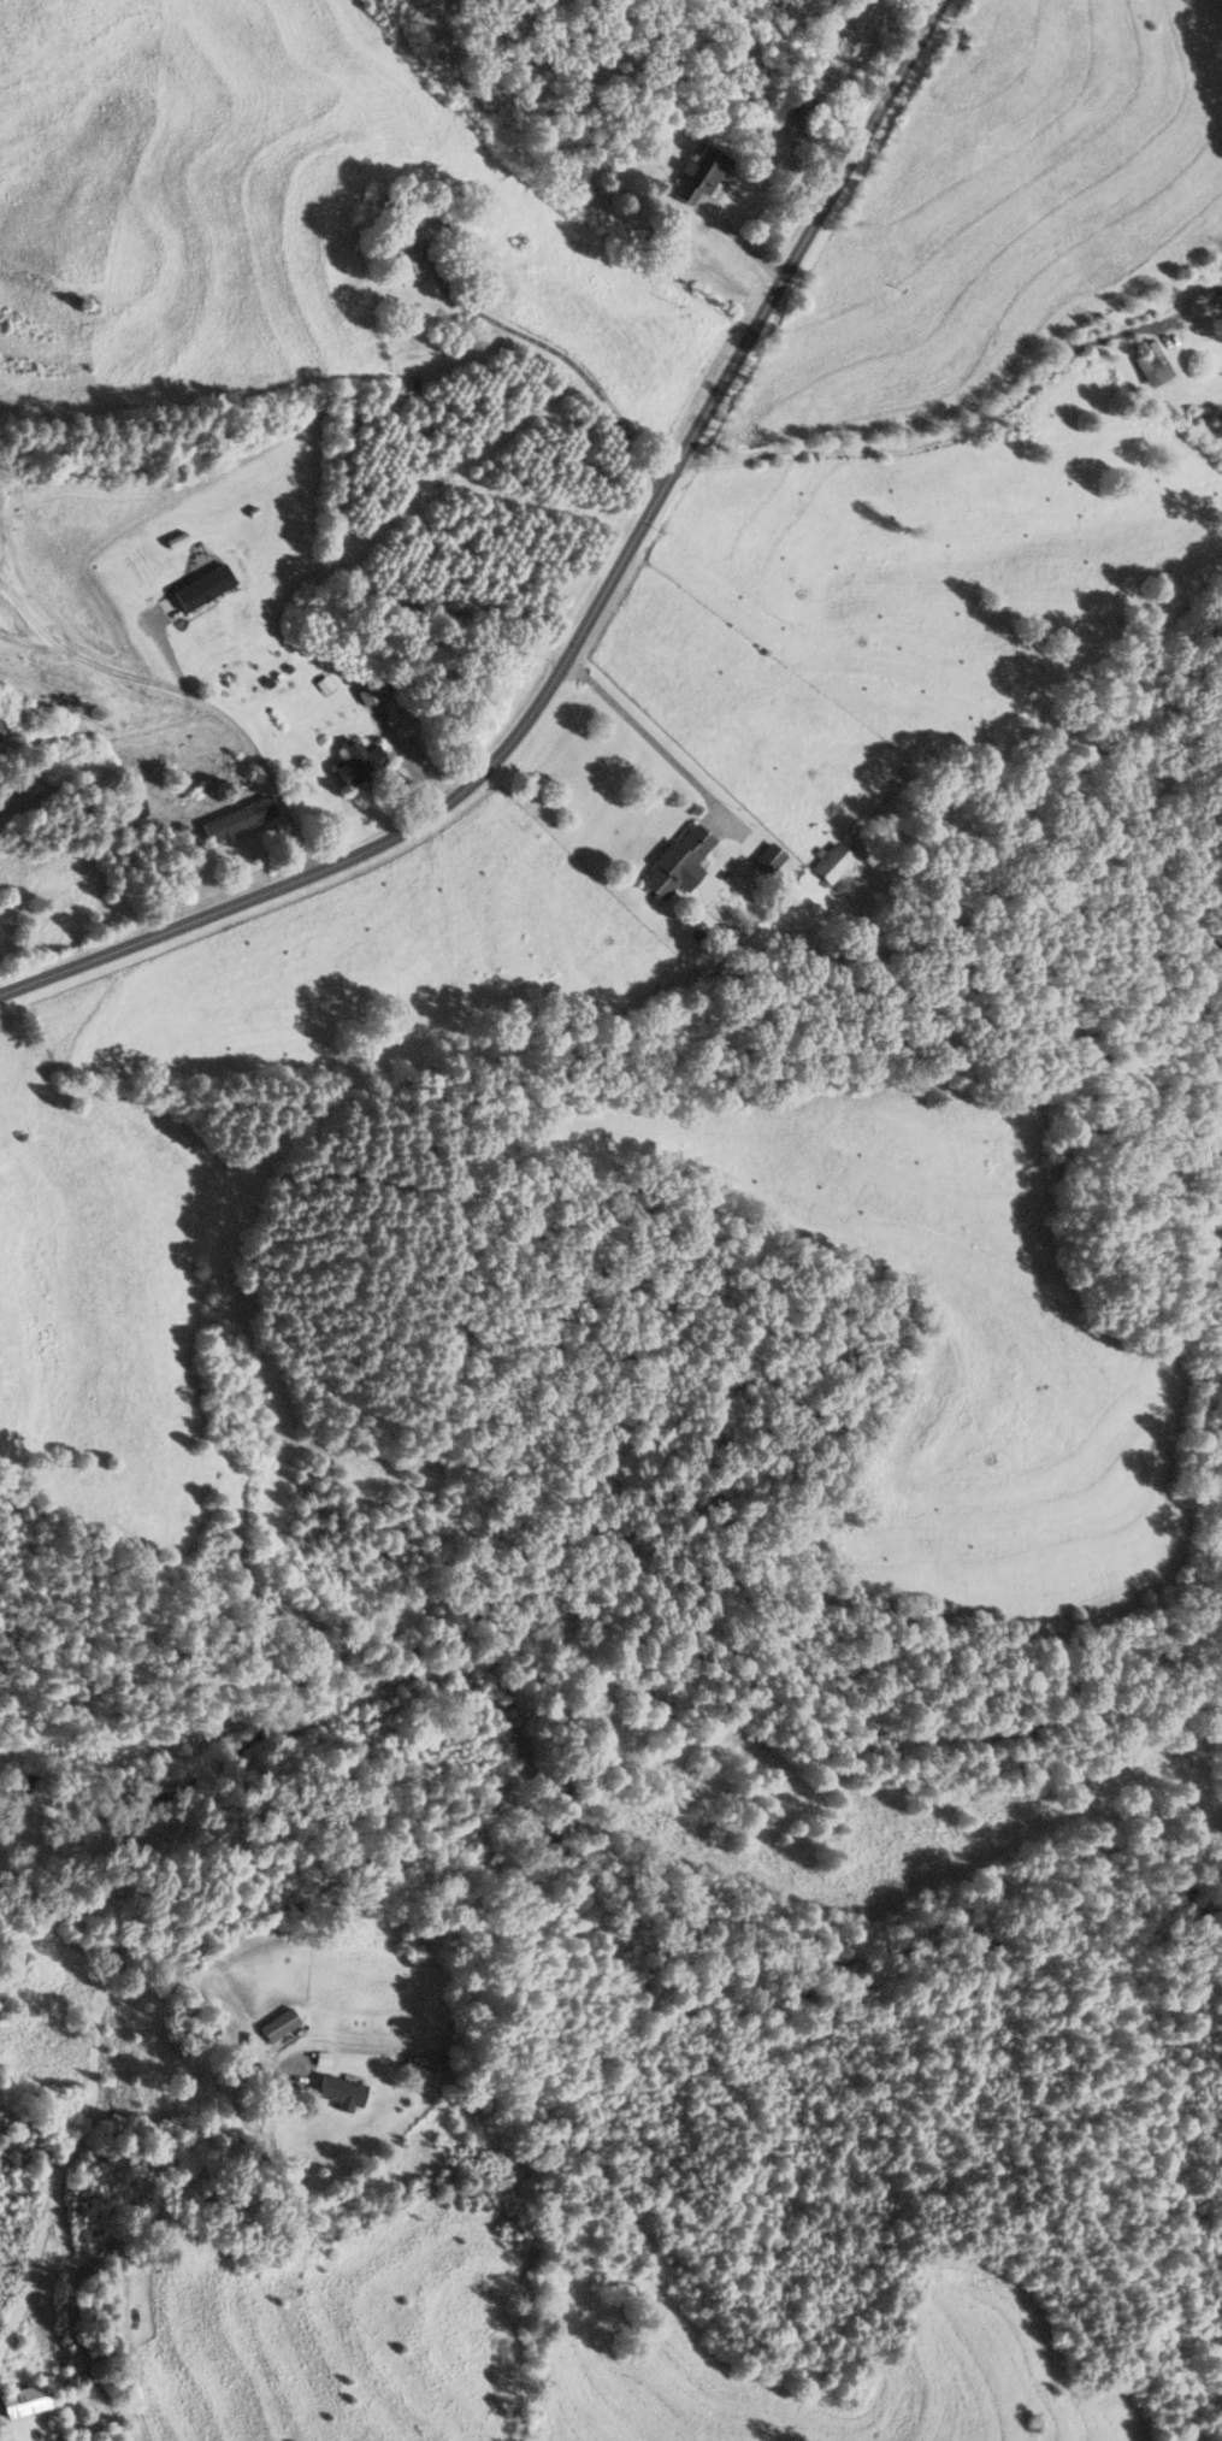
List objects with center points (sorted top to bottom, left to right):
building: (699, 176)
building: (524, 242)
building: (407, 261)
building: (1215, 308)
road: (572, 364)
building: (1151, 364)
road: (933, 435)
road: (586, 626)
building: (373, 690)
road: (201, 704)
building: (0, 721)
road: (650, 737)
building: (360, 761)
building: (237, 818)
building: (769, 856)
building: (832, 860)
building: (679, 861)
road: (0, 2011)
building: (424, 2060)
building: (341, 2091)
road: (142, 2230)
building: (24, 2400)

